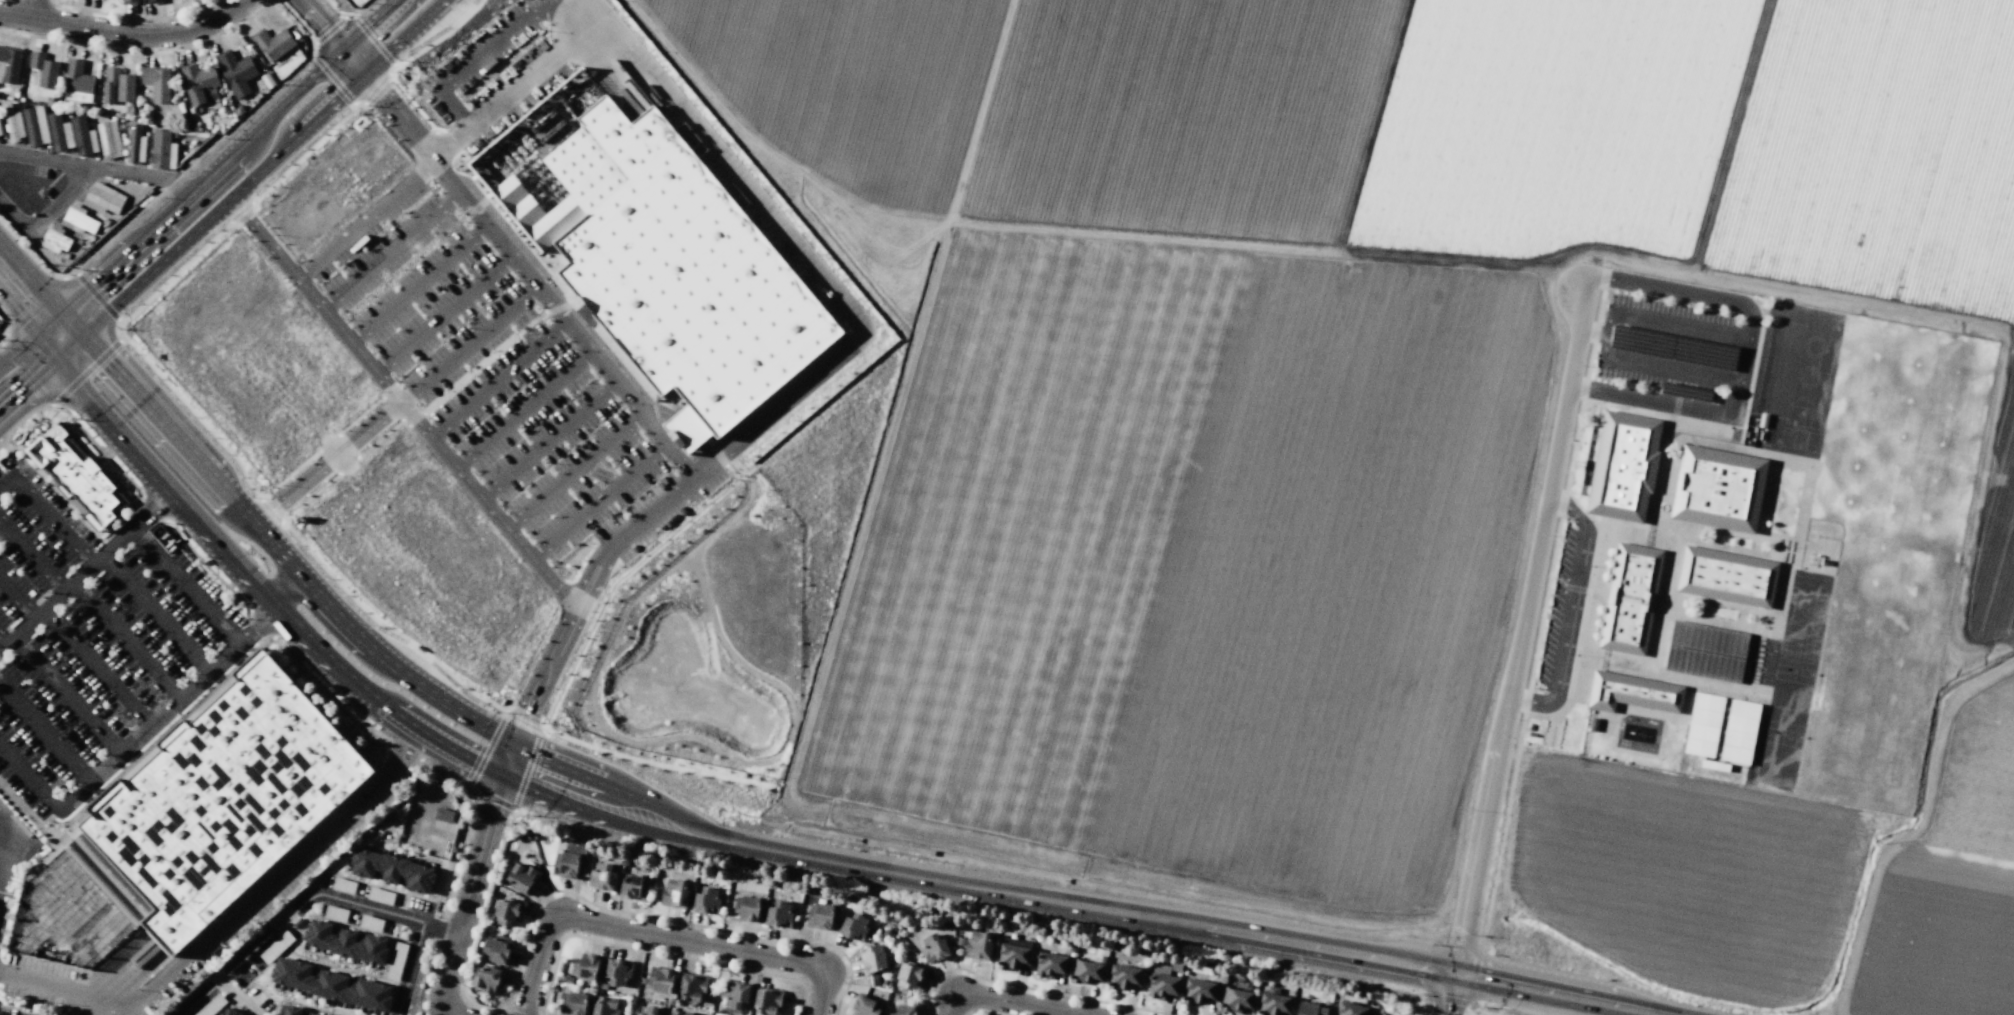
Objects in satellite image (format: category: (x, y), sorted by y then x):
building: (154, 1)
building: (129, 2)
road: (585, 8)
road: (32, 9)
road: (329, 30)
road: (124, 33)
road: (497, 40)
building: (272, 42)
parking lot: (487, 59)
building: (9, 64)
road: (539, 68)
building: (43, 69)
building: (236, 71)
building: (77, 81)
building: (156, 82)
building: (199, 82)
building: (116, 86)
road: (451, 104)
road: (394, 111)
road: (465, 122)
building: (13, 123)
building: (35, 125)
building: (59, 132)
building: (0, 133)
building: (82, 136)
building: (108, 139)
road: (449, 143)
building: (135, 144)
building: (163, 148)
road: (49, 159)
road: (243, 161)
road: (154, 175)
building: (103, 198)
road: (49, 211)
building: (77, 220)
road: (257, 231)
building: (55, 239)
road: (794, 249)
road: (390, 251)
road: (503, 254)
building: (654, 256)
road: (416, 285)
road: (1706, 299)
road: (441, 315)
traffic signals: (73, 325)
road: (28, 326)
road: (1606, 335)
road: (348, 339)
road: (33, 340)
road: (468, 346)
traffic signals: (55, 363)
parking lot: (492, 367)
road: (43, 374)
road: (497, 380)
crop: (1323, 396)
road: (1668, 404)
road: (522, 411)
road: (197, 417)
road: (547, 441)
road: (325, 444)
road: (721, 460)
road: (326, 462)
building: (1624, 466)
road: (345, 467)
road: (703, 468)
road: (572, 471)
building: (77, 477)
road: (160, 482)
road: (7, 484)
building: (1718, 488)
road: (598, 501)
road: (487, 505)
road: (270, 510)
road: (649, 512)
road: (245, 515)
road: (696, 515)
road: (53, 521)
road: (3, 524)
road: (3, 530)
road: (35, 559)
road: (84, 570)
building: (1728, 576)
road: (591, 579)
road: (185, 586)
road: (283, 587)
road: (16, 599)
building: (1630, 599)
road: (1574, 611)
road: (156, 613)
road: (383, 625)
road: (1522, 626)
parking lot: (85, 636)
building: (1709, 638)
road: (127, 641)
road: (2, 642)
road: (322, 651)
building: (1705, 663)
road: (97, 668)
road: (541, 685)
building: (1632, 693)
road: (68, 695)
building: (1708, 702)
road: (170, 709)
building: (1744, 709)
building: (1705, 717)
road: (523, 720)
building: (1742, 724)
road: (46, 733)
building: (1702, 733)
building: (1739, 739)
road: (439, 743)
building: (1700, 748)
building: (1736, 755)
traffic signals: (507, 762)
road: (656, 763)
road: (30, 778)
building: (223, 801)
building: (443, 815)
building: (527, 835)
building: (534, 835)
building: (616, 858)
building: (624, 862)
road: (7, 864)
building: (565, 865)
building: (390, 869)
road: (479, 869)
road: (273, 876)
building: (602, 876)
building: (522, 877)
building: (633, 887)
building: (675, 894)
road: (329, 895)
building: (705, 901)
road: (1071, 906)
road: (445, 908)
building: (746, 909)
building: (505, 912)
road: (970, 912)
building: (777, 914)
building: (820, 916)
road: (664, 919)
building: (852, 926)
road: (442, 928)
road: (659, 936)
building: (959, 941)
building: (344, 942)
building: (978, 946)
building: (496, 948)
building: (934, 948)
building: (1073, 948)
road: (659, 953)
building: (1013, 956)
road: (276, 957)
building: (872, 959)
building: (1050, 964)
building: (586, 966)
road: (848, 967)
building: (1176, 967)
road: (344, 970)
building: (617, 971)
building: (1085, 971)
road: (465, 977)
building: (909, 977)
building: (1123, 977)
traffic signals: (1454, 977)
building: (487, 979)
building: (567, 979)
building: (660, 979)
building: (643, 980)
building: (874, 980)
building: (1162, 982)
building: (330, 984)
building: (595, 984)
building: (602, 986)
road: (51, 987)
building: (692, 987)
road: (1037, 989)
building: (1198, 991)
building: (736, 993)
building: (559, 995)
road: (238, 996)
road: (1450, 996)
road: (289, 1000)
building: (1236, 1000)
building: (633, 1001)
building: (767, 1001)
road: (1008, 1001)
building: (573, 1003)
building: (1274, 1003)
building: (604, 1006)
building: (864, 1006)
building: (1313, 1008)
road: (929, 1009)
building: (1351, 1009)
road: (274, 1010)
building: (287, 1010)
building: (647, 1010)
building: (904, 1010)
road: (447, 1011)
building: (228, 1012)
building: (680, 1012)
building: (709, 1012)
building: (238, 1014)
building: (273, 1014)
building: (312, 1014)
road: (392, 1014)
road: (977, 1014)
road: (1068, 1014)
building: (1388, 1014)

